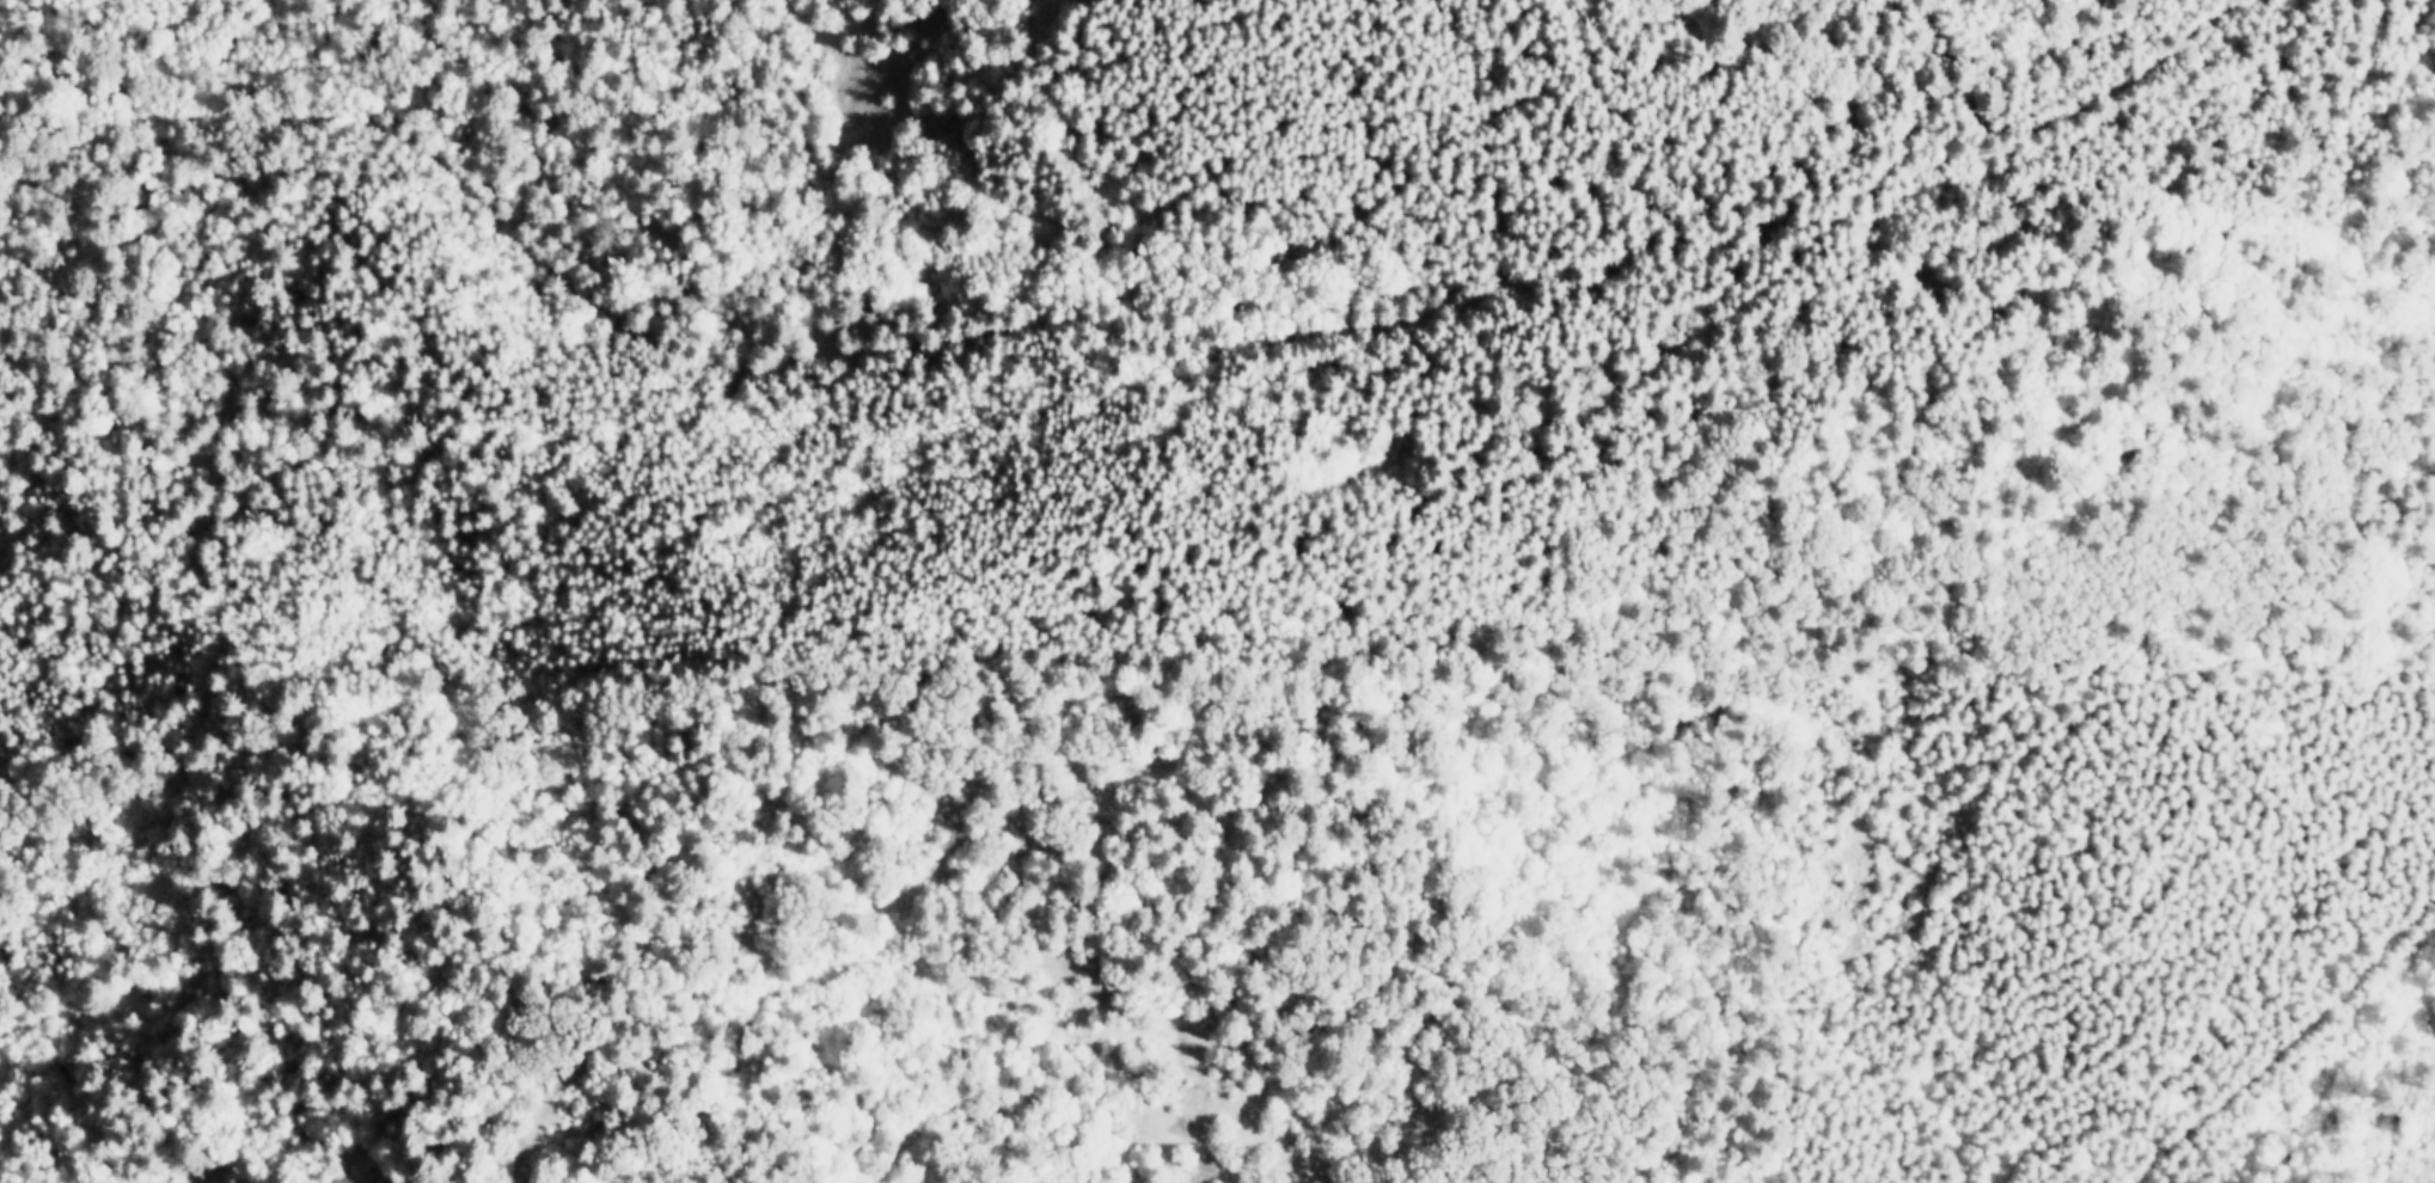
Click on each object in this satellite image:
road: (2283, 1056)

